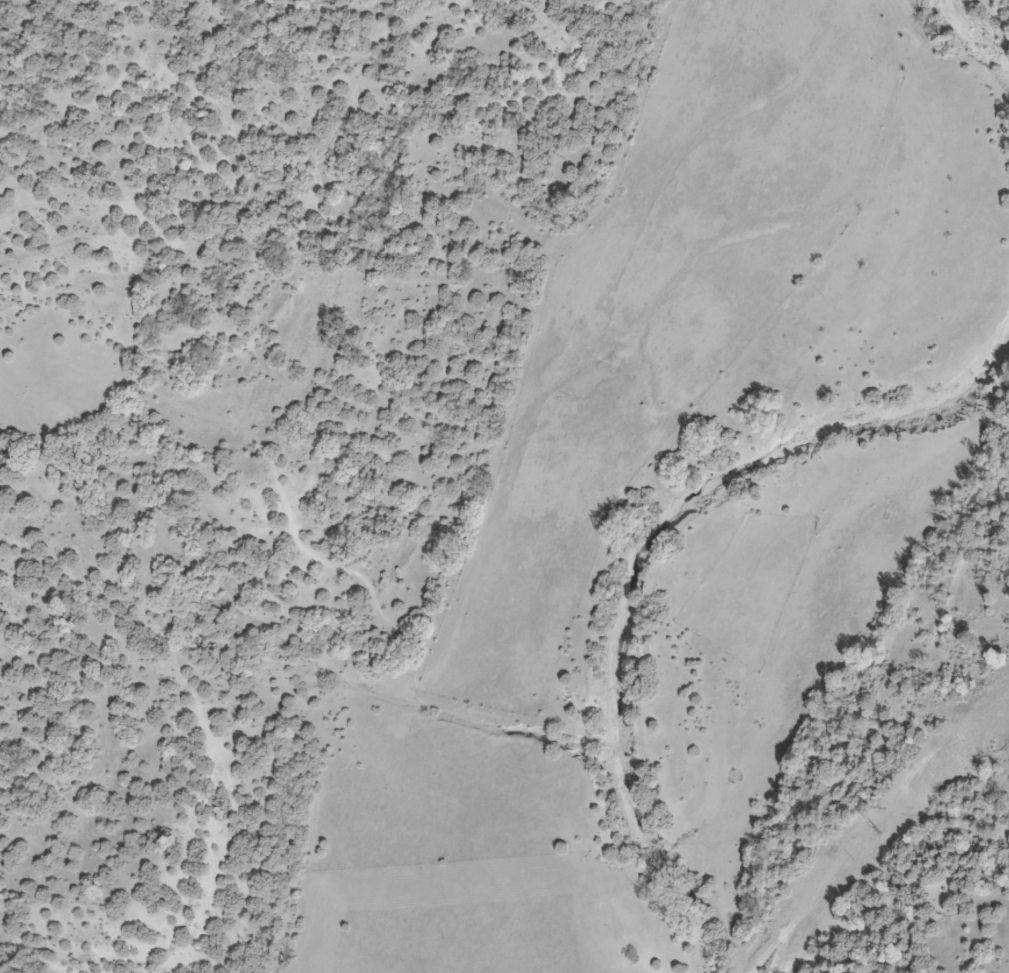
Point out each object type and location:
power tower: (879, 833)

